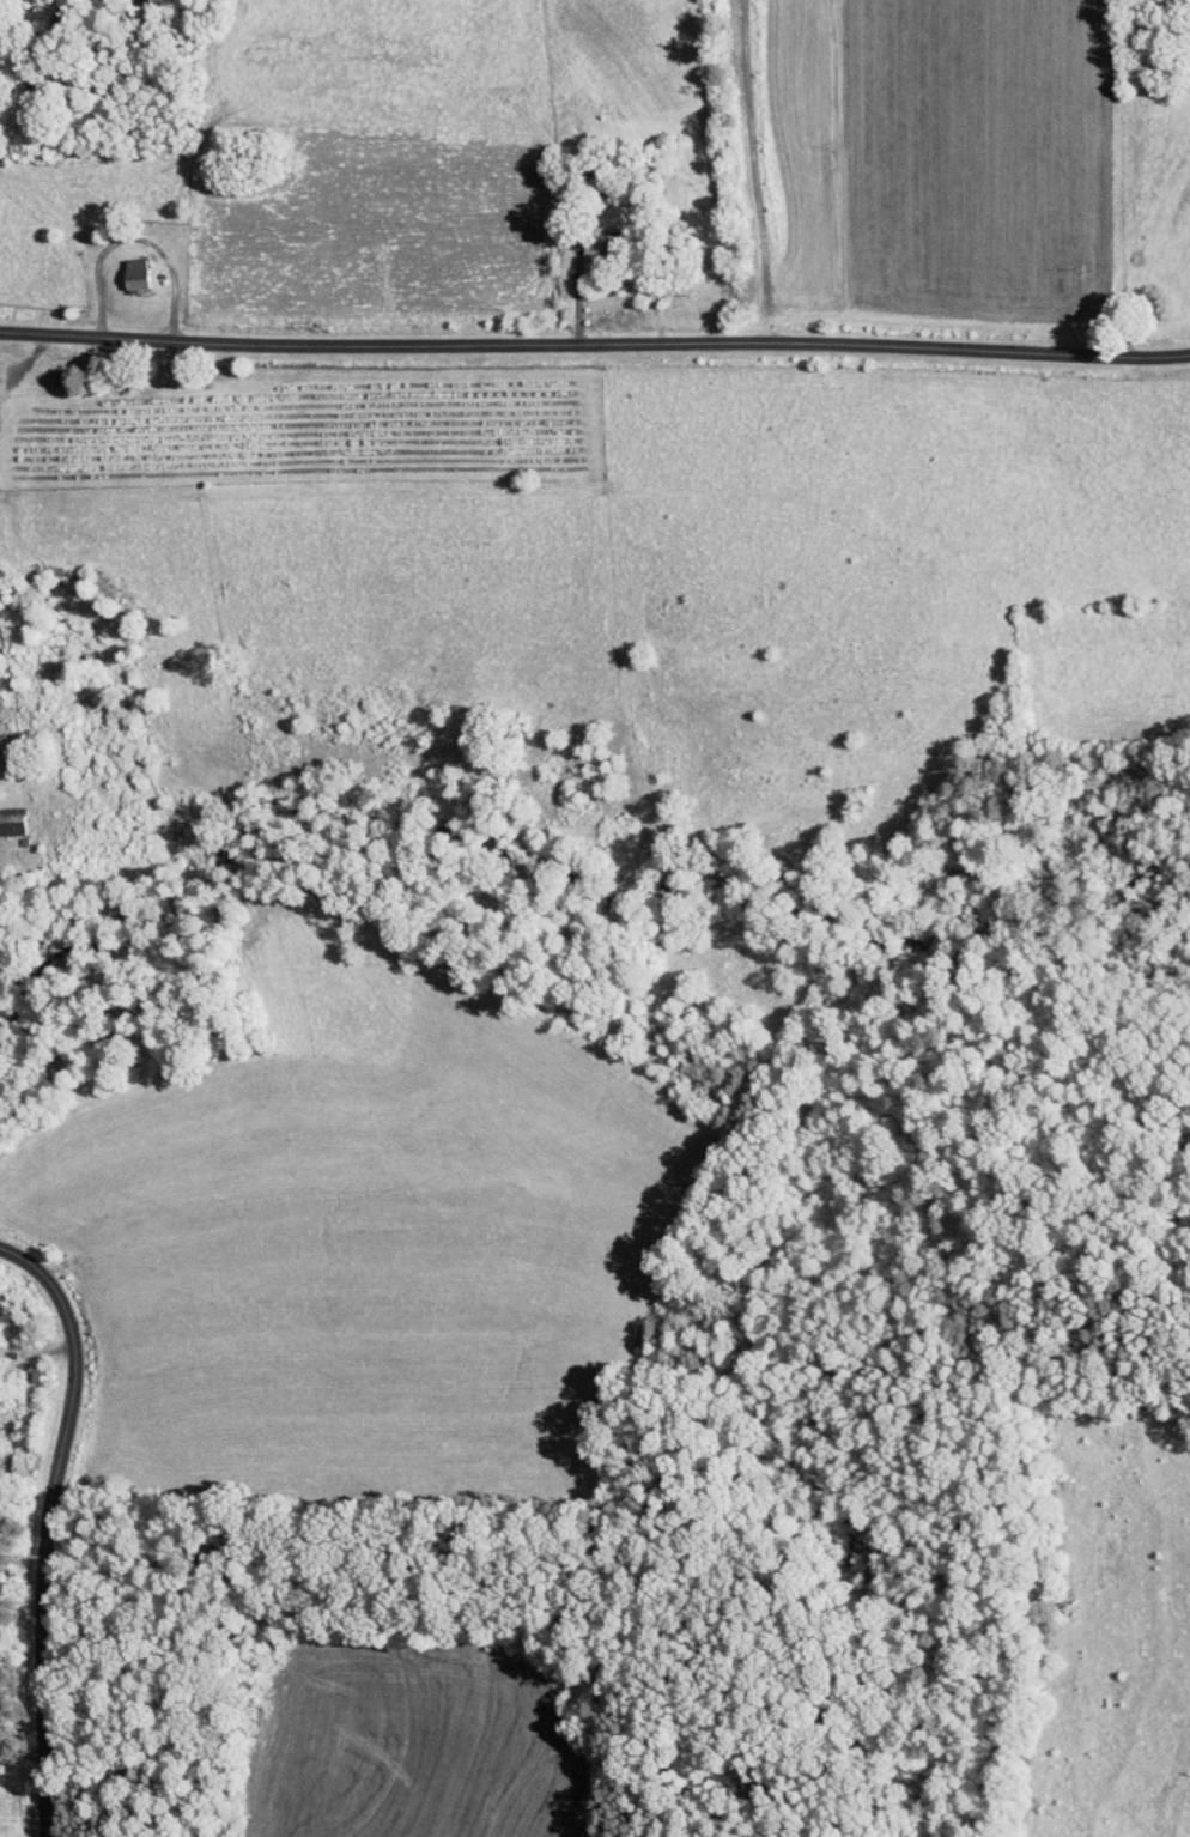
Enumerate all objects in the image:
building: (582, 237)
building: (120, 267)
road: (594, 345)
building: (4, 813)
road: (56, 1524)

